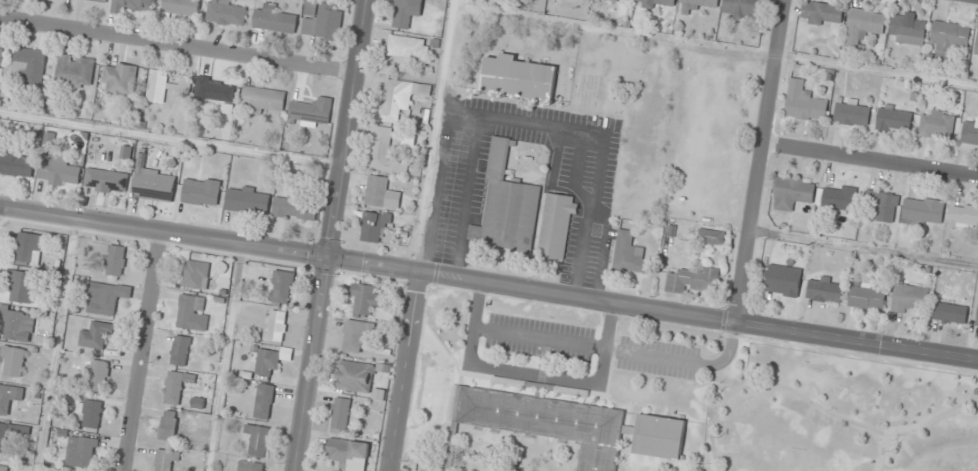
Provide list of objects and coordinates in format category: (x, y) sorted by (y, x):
building: (626, 0)
building: (98, 1)
building: (655, 4)
building: (136, 5)
building: (693, 5)
building: (182, 7)
building: (740, 9)
building: (225, 13)
building: (819, 13)
building: (401, 14)
building: (274, 20)
building: (322, 21)
building: (861, 25)
building: (906, 28)
building: (946, 39)
building: (976, 43)
road: (177, 44)
building: (406, 49)
road: (714, 51)
building: (1, 55)
building: (29, 66)
building: (74, 72)
building: (515, 77)
building: (119, 79)
building: (163, 86)
building: (216, 91)
building: (398, 98)
building: (263, 99)
building: (801, 102)
building: (311, 113)
building: (850, 113)
building: (892, 118)
building: (934, 124)
building: (969, 131)
road: (432, 136)
road: (171, 139)
building: (381, 151)
road: (869, 158)
road: (758, 161)
building: (16, 164)
building: (60, 172)
building: (106, 181)
building: (154, 185)
building: (201, 192)
building: (789, 192)
building: (379, 193)
building: (836, 199)
building: (247, 201)
building: (507, 201)
building: (879, 206)
building: (294, 209)
building: (920, 211)
building: (963, 216)
building: (554, 225)
building: (370, 226)
road: (165, 231)
road: (333, 235)
building: (711, 237)
road: (863, 247)
building: (29, 249)
building: (627, 253)
traffic signals: (330, 259)
building: (116, 261)
building: (196, 275)
building: (690, 279)
building: (782, 280)
building: (22, 287)
building: (281, 288)
building: (822, 288)
building: (865, 295)
building: (104, 298)
building: (363, 298)
building: (907, 298)
road: (653, 311)
building: (193, 313)
building: (948, 313)
building: (976, 315)
building: (17, 324)
building: (276, 326)
building: (353, 335)
building: (97, 336)
road: (55, 345)
building: (180, 350)
road: (619, 350)
road: (146, 351)
road: (223, 357)
building: (270, 360)
building: (13, 361)
road: (407, 373)
building: (96, 376)
building: (352, 376)
road: (534, 376)
road: (768, 383)
building: (174, 388)
road: (443, 392)
building: (8, 398)
building: (264, 402)
building: (339, 413)
building: (90, 414)
park: (839, 416)
road: (936, 416)
building: (547, 422)
building: (168, 426)
building: (11, 434)
road: (887, 434)
building: (657, 436)
building: (258, 440)
building: (82, 452)
road: (883, 453)
building: (346, 454)
building: (167, 461)
building: (251, 466)
building: (3, 468)

